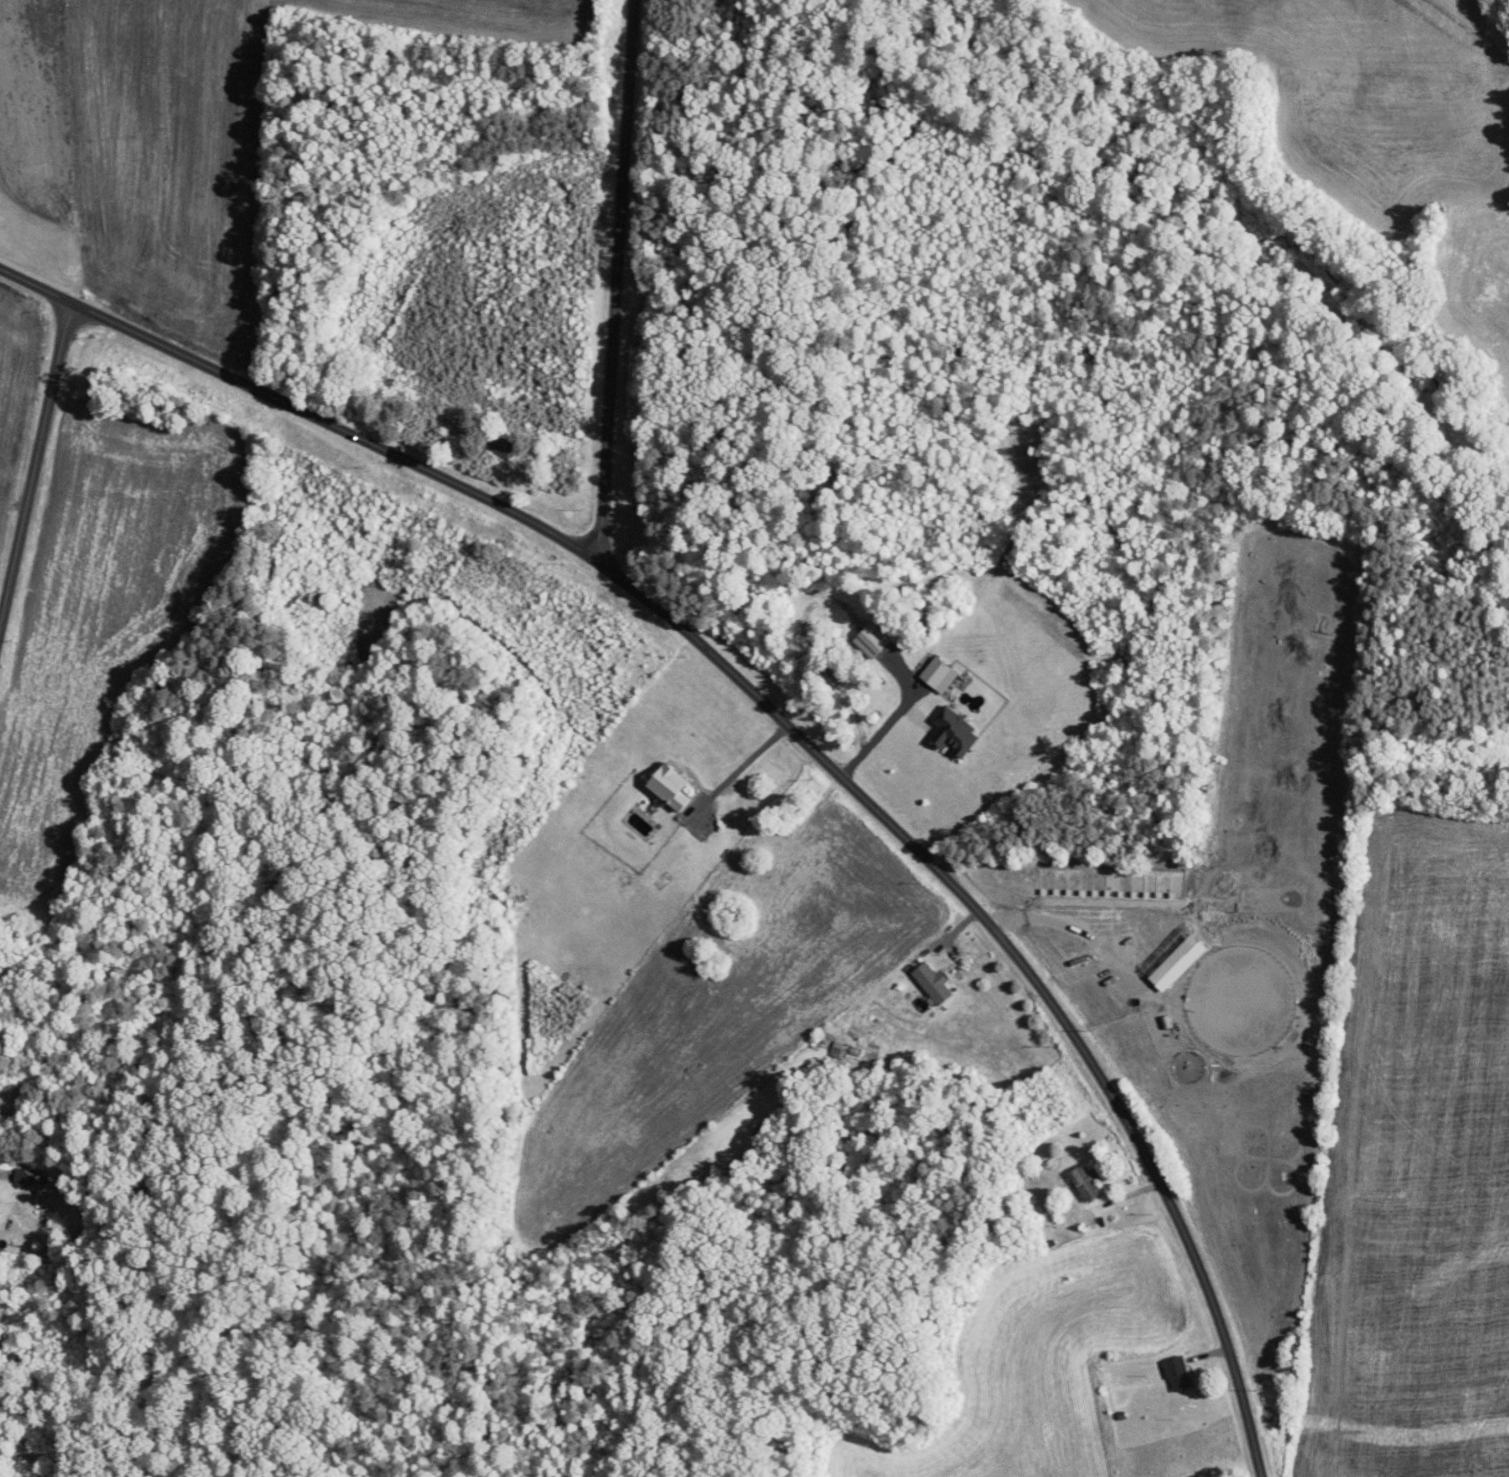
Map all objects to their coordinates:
road: (615, 286)
building: (501, 446)
road: (30, 468)
building: (872, 639)
building: (939, 674)
road: (780, 724)
building: (953, 731)
road: (878, 735)
road: (736, 771)
building: (670, 784)
building: (932, 980)
building: (1084, 1181)
building: (1178, 1371)

